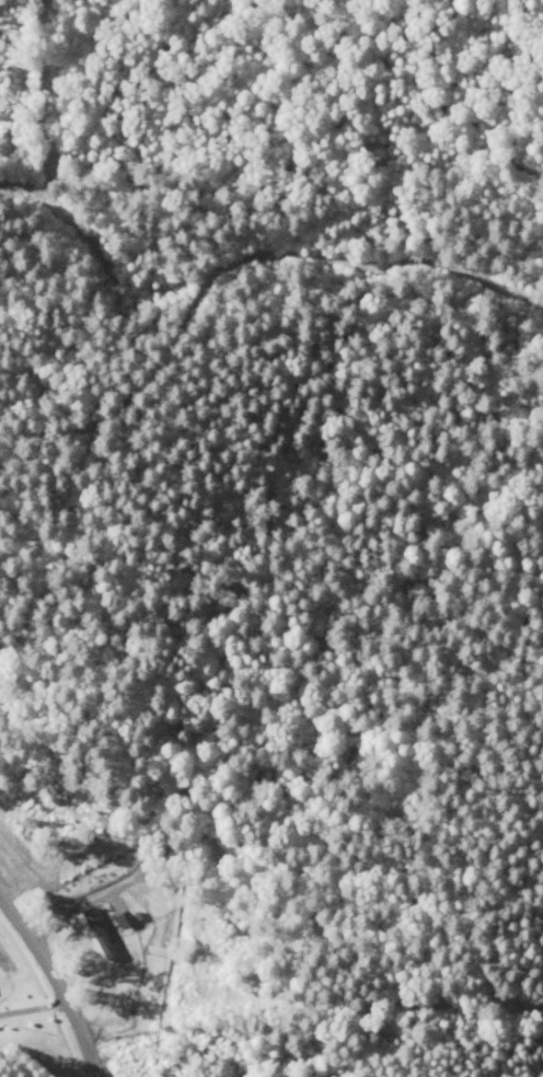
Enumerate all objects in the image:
building: (102, 928)
road: (61, 983)

